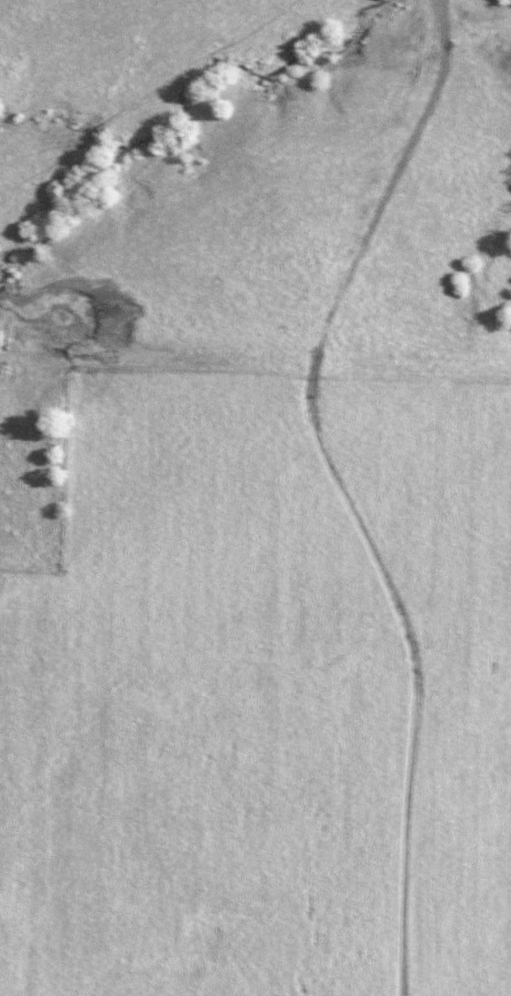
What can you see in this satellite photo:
road: (24, 345)

